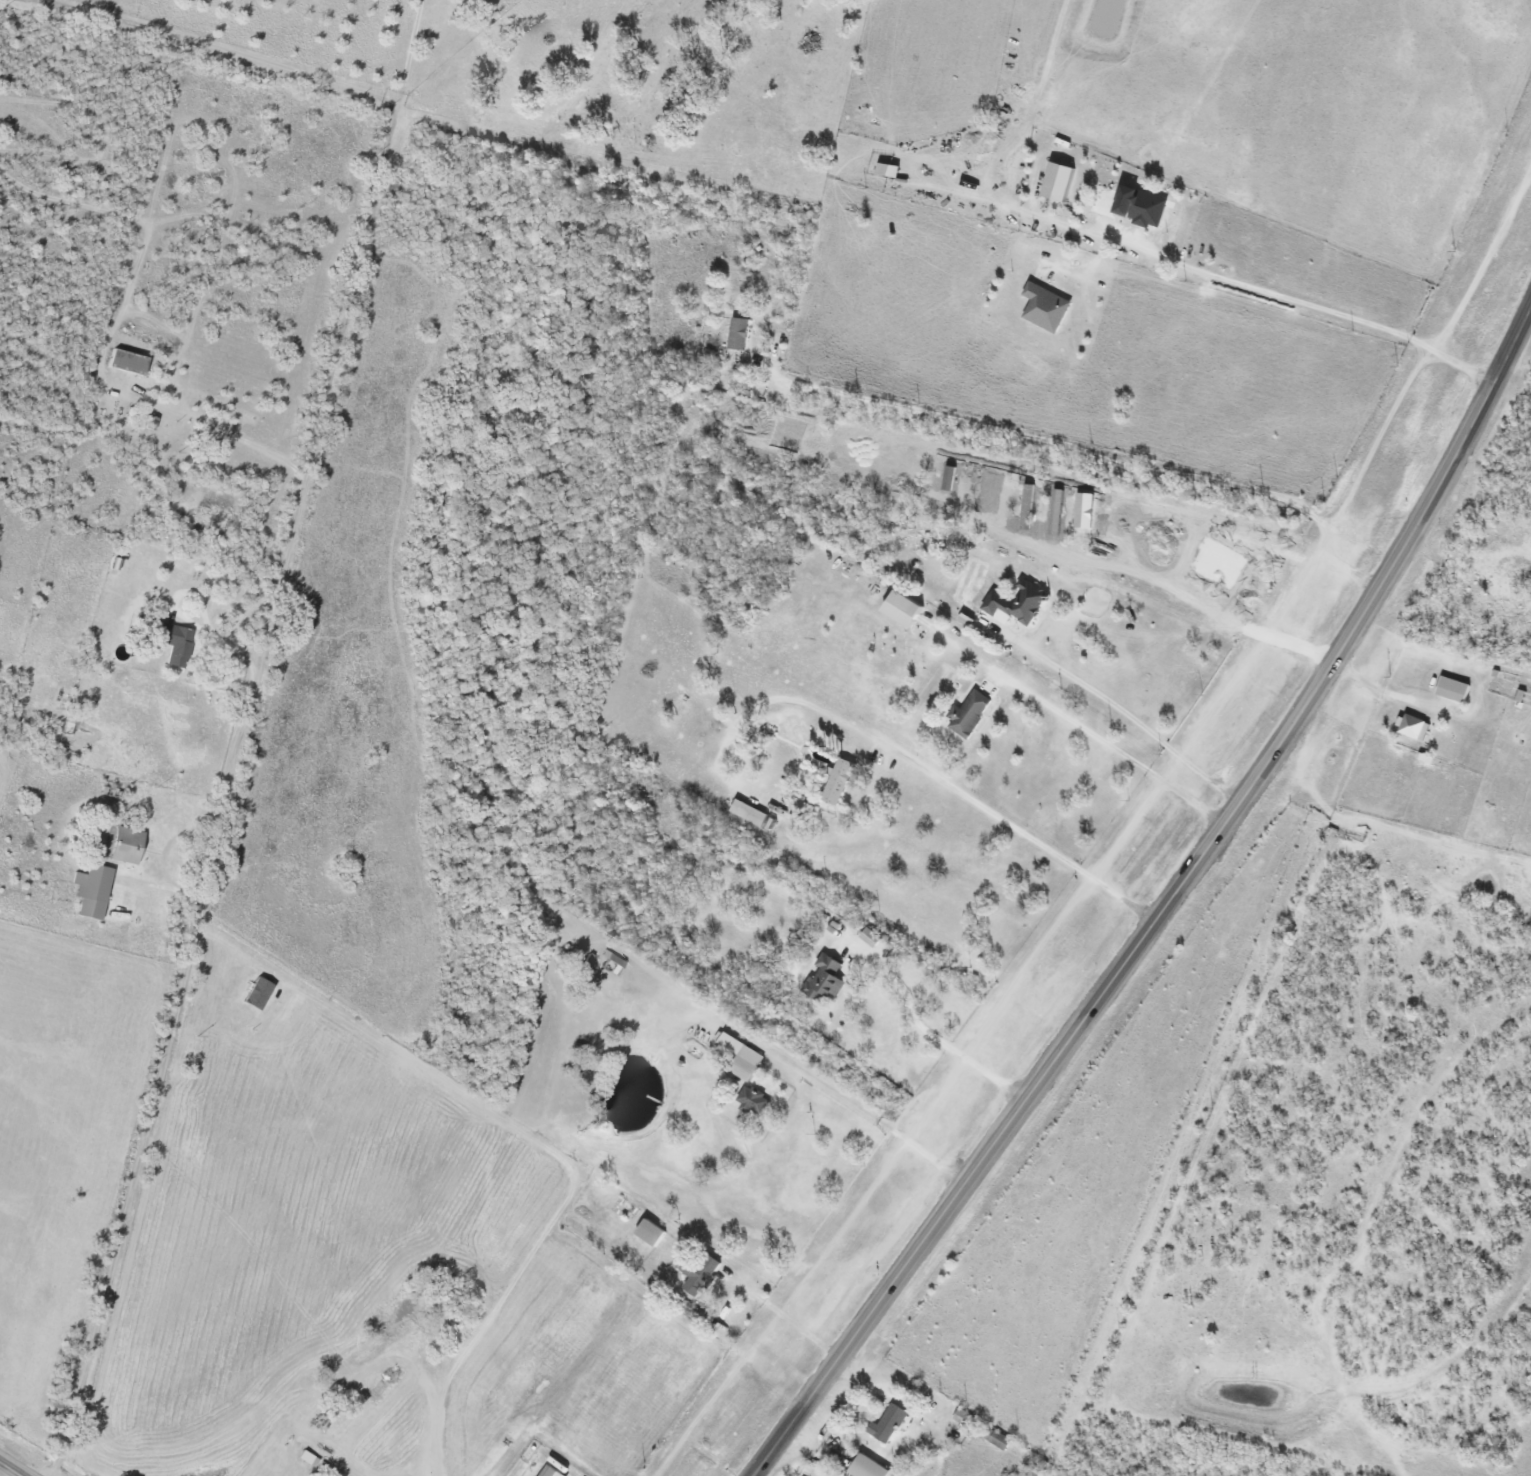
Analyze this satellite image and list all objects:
road: (408, 53)
road: (228, 54)
building: (891, 170)
building: (1062, 182)
building: (1145, 207)
road: (1315, 307)
building: (1048, 308)
building: (741, 334)
building: (128, 362)
road: (325, 391)
road: (209, 427)
road: (1473, 432)
road: (1095, 456)
road: (1338, 590)
building: (1021, 604)
building: (906, 608)
building: (179, 645)
building: (1455, 690)
building: (973, 714)
road: (1139, 724)
building: (1416, 728)
road: (1120, 753)
building: (841, 782)
road: (954, 784)
building: (751, 814)
building: (128, 846)
building: (94, 891)
building: (827, 979)
road: (1091, 1017)
road: (942, 1042)
road: (168, 1047)
building: (744, 1058)
building: (756, 1104)
road: (869, 1113)
building: (652, 1232)
building: (702, 1273)
road: (794, 1324)
building: (890, 1424)
building: (1001, 1441)
building: (309, 1458)
building: (871, 1468)
road: (9, 1470)
building: (553, 1471)

